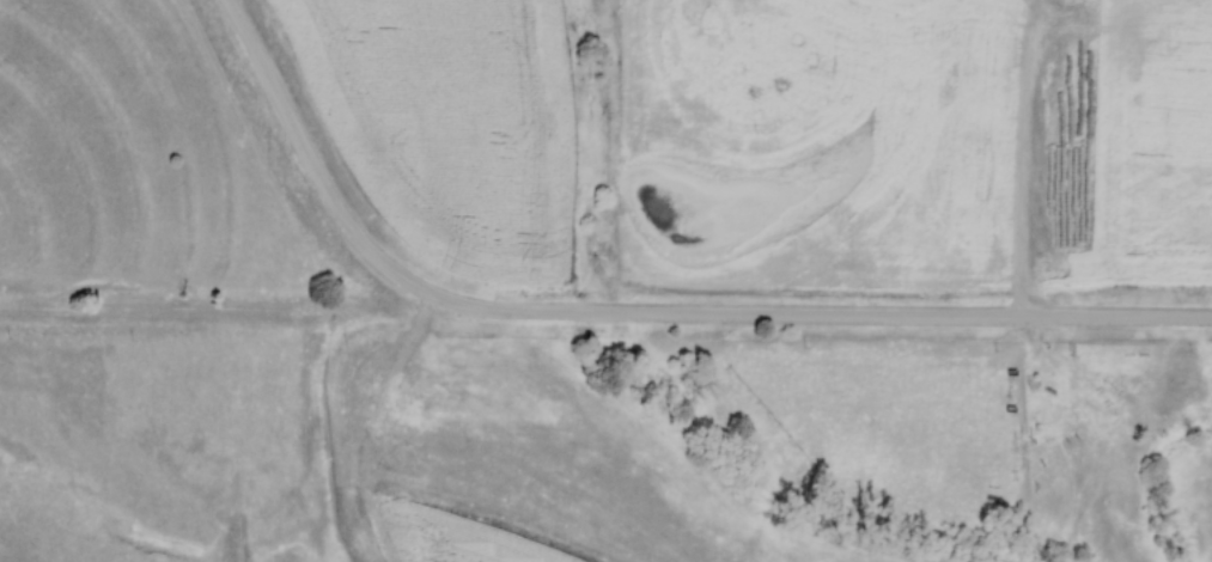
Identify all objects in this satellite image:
road: (1040, 154)
road: (638, 317)

